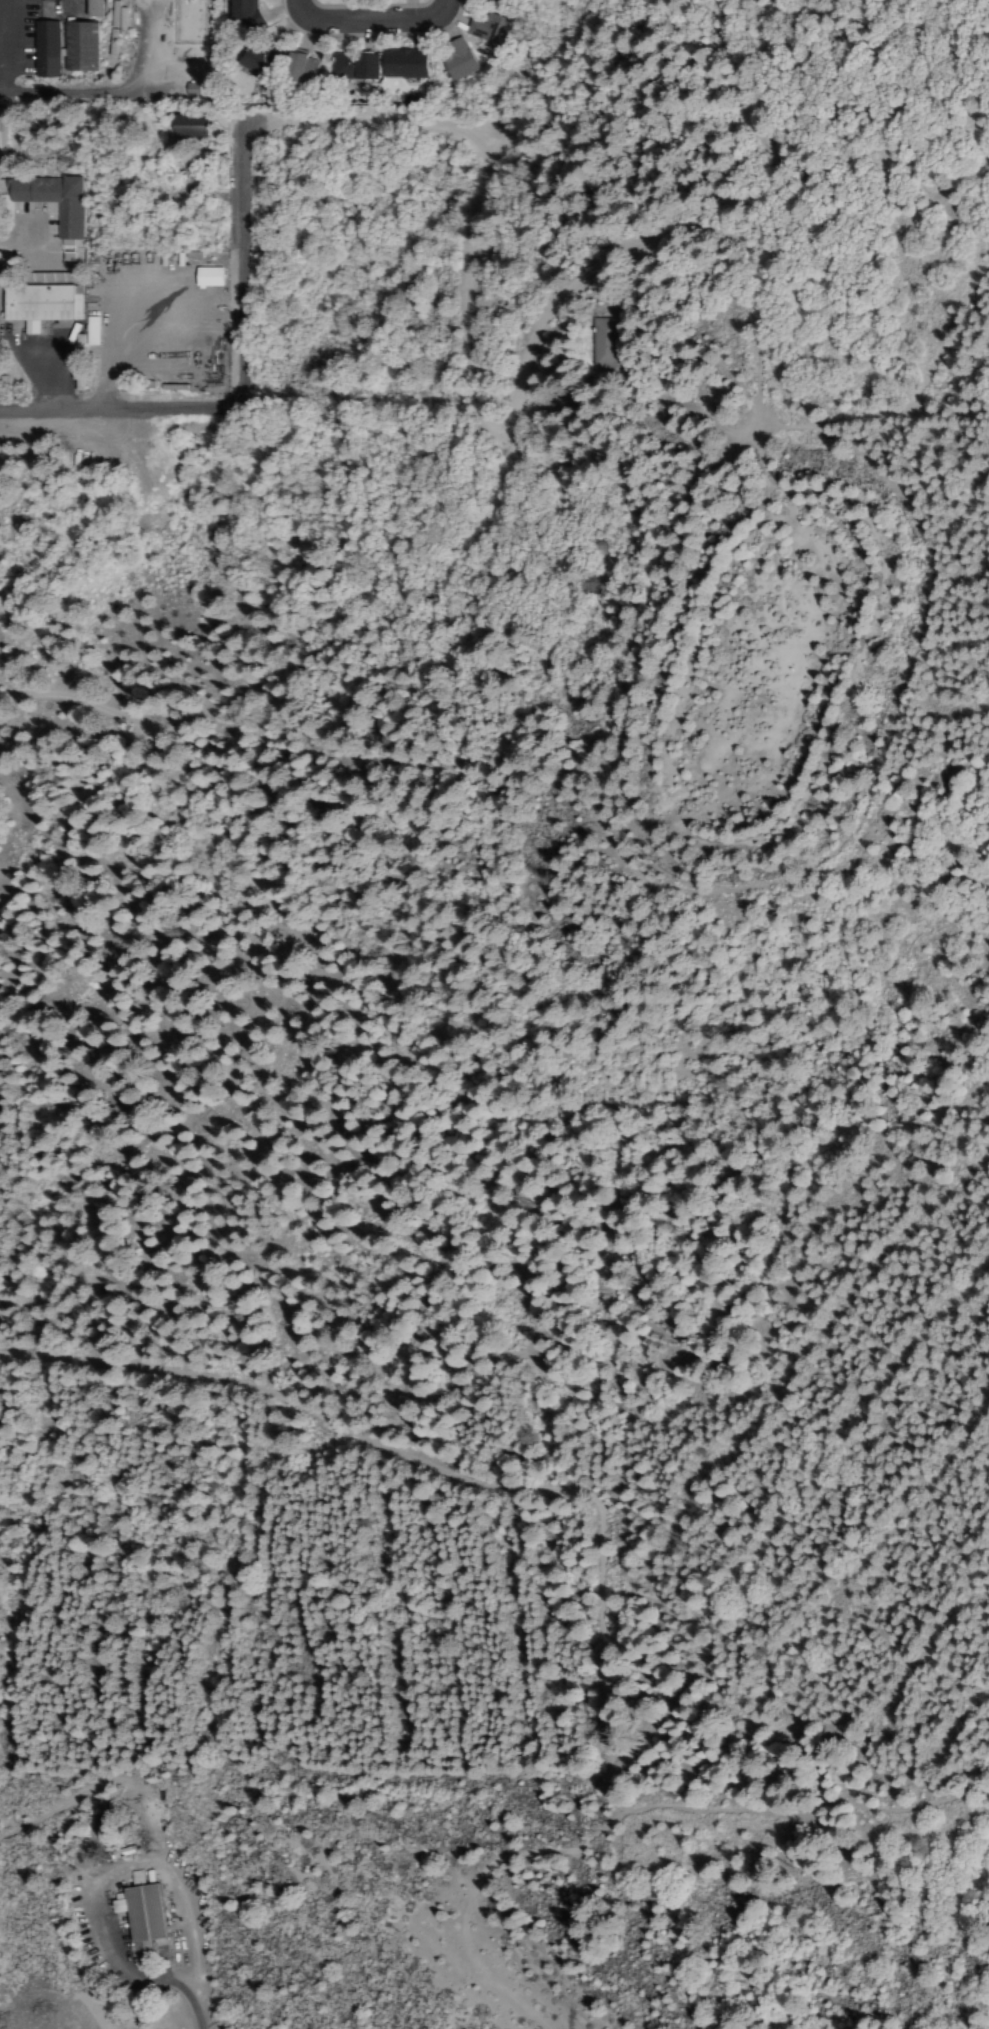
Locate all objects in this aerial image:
building: (496, 0)
building: (94, 9)
building: (251, 14)
road: (377, 23)
building: (483, 28)
building: (61, 48)
building: (262, 61)
building: (403, 64)
building: (458, 64)
building: (304, 67)
building: (358, 68)
road: (116, 95)
road: (262, 126)
building: (198, 127)
building: (3, 139)
building: (56, 201)
building: (211, 278)
road: (360, 295)
road: (570, 301)
building: (42, 306)
road: (954, 331)
building: (605, 344)
building: (81, 369)
road: (124, 412)
building: (141, 1918)

